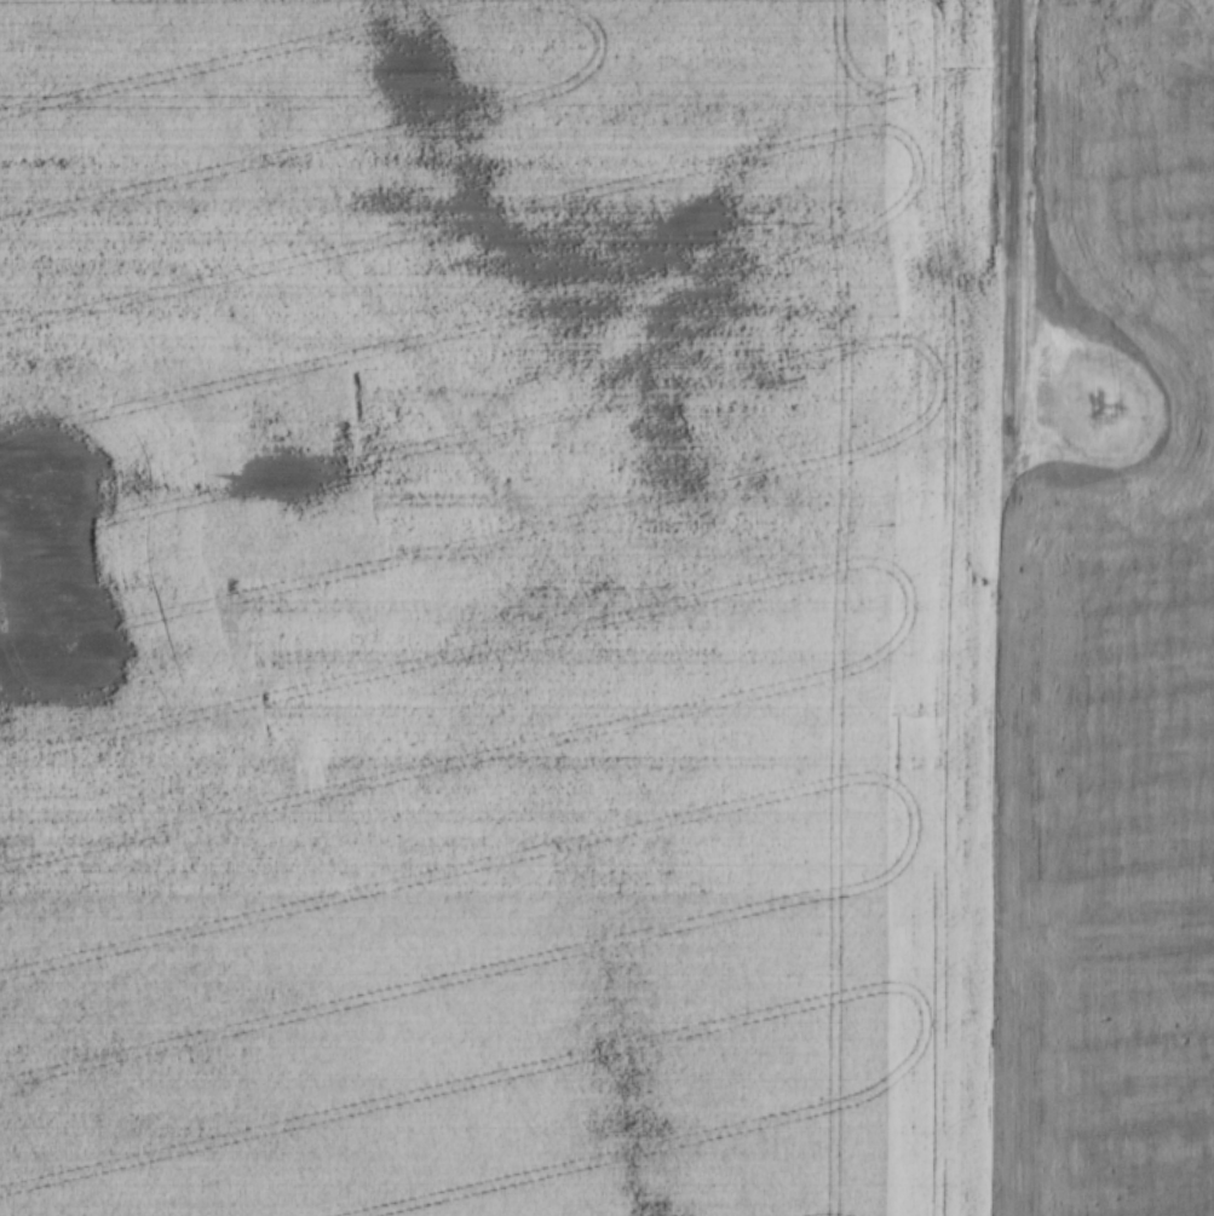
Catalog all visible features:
road: (1007, 607)

